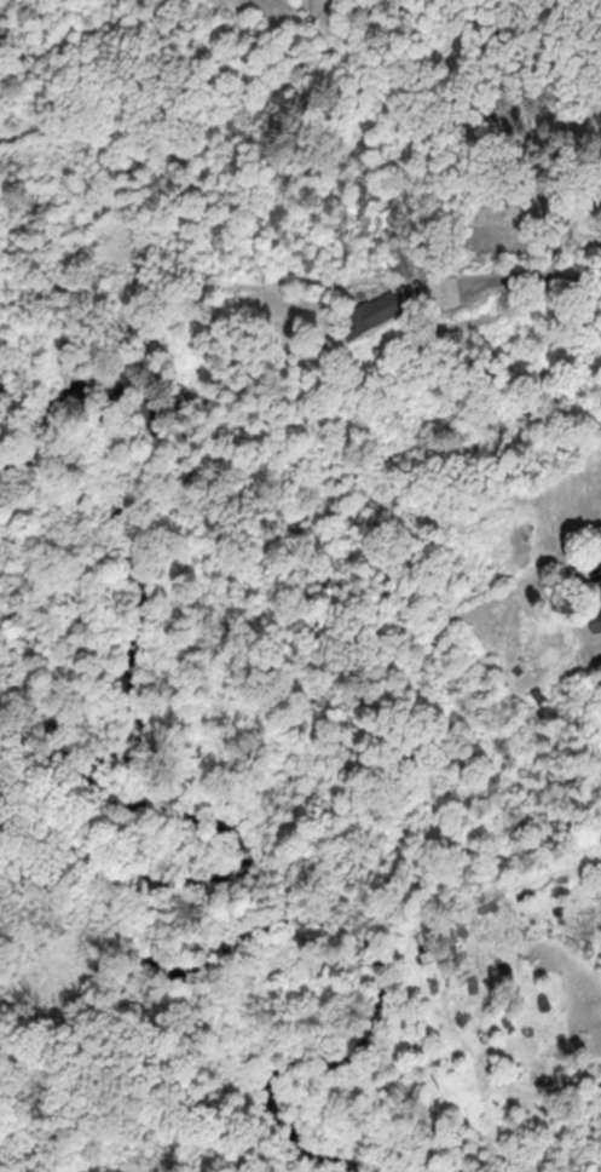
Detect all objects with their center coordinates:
road: (81, 6)
road: (539, 23)
road: (62, 61)
road: (528, 130)
park: (502, 131)
park: (200, 139)
road: (193, 151)
road: (536, 277)
building: (378, 311)
building: (600, 588)
building: (595, 620)
river: (67, 756)

